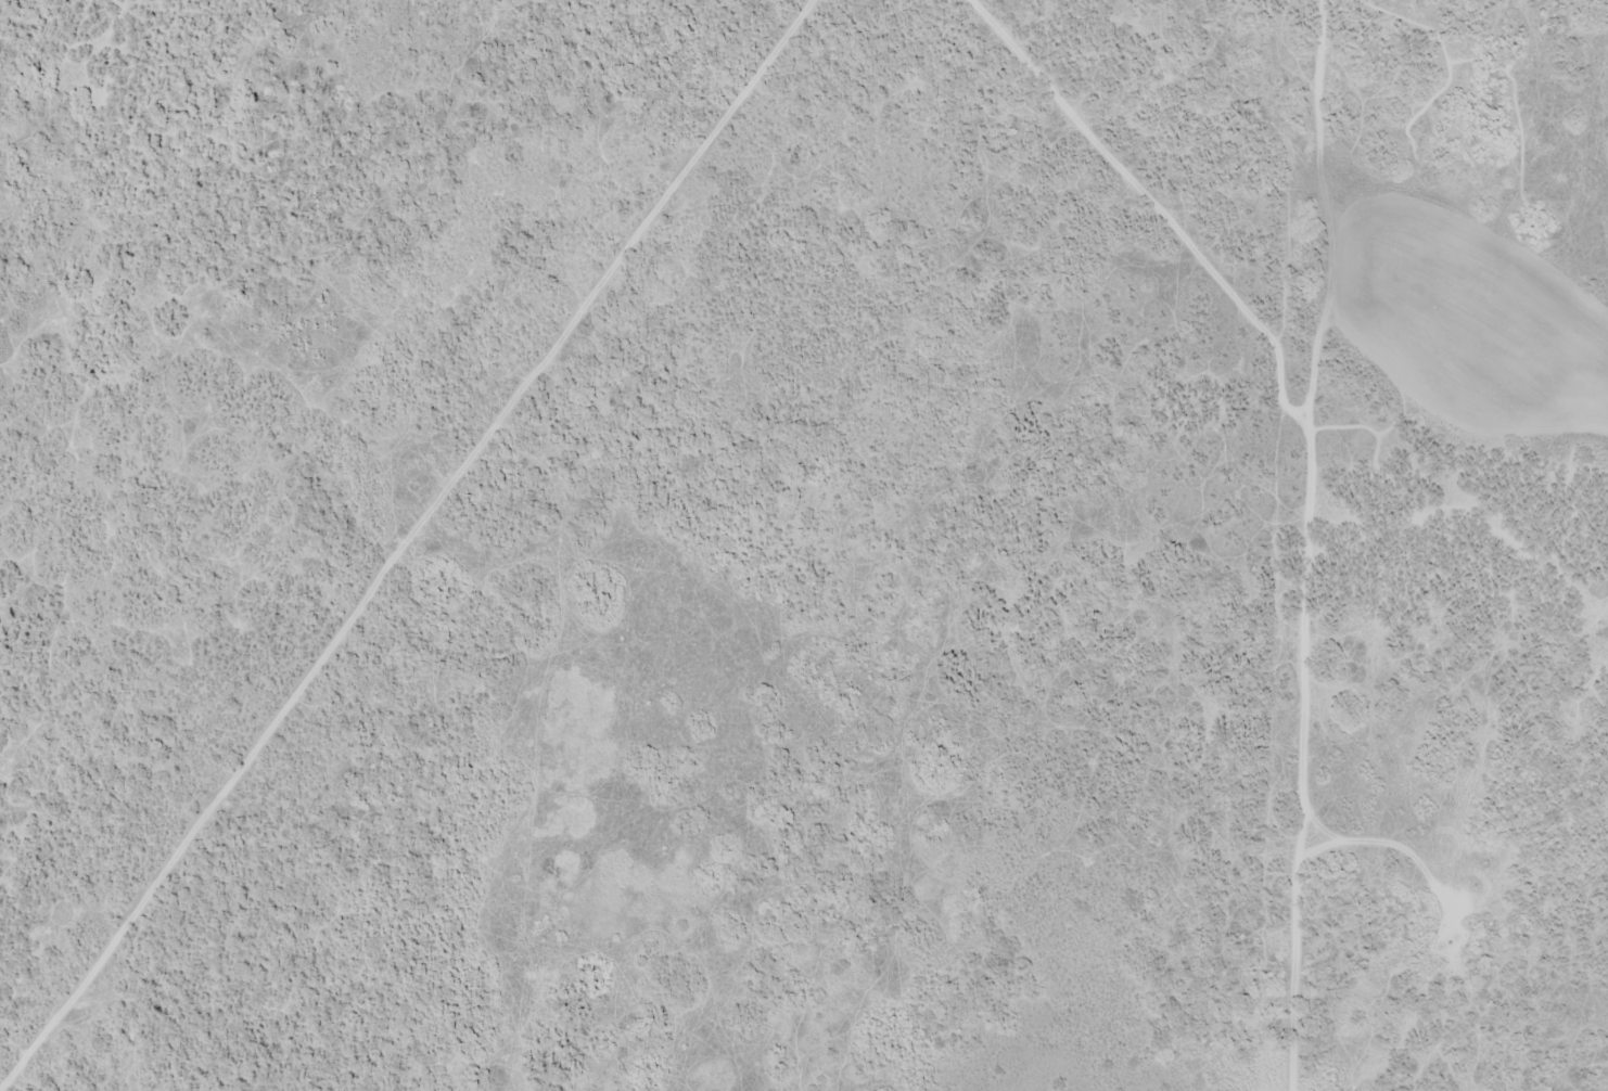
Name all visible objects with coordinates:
road: (1282, 545)

